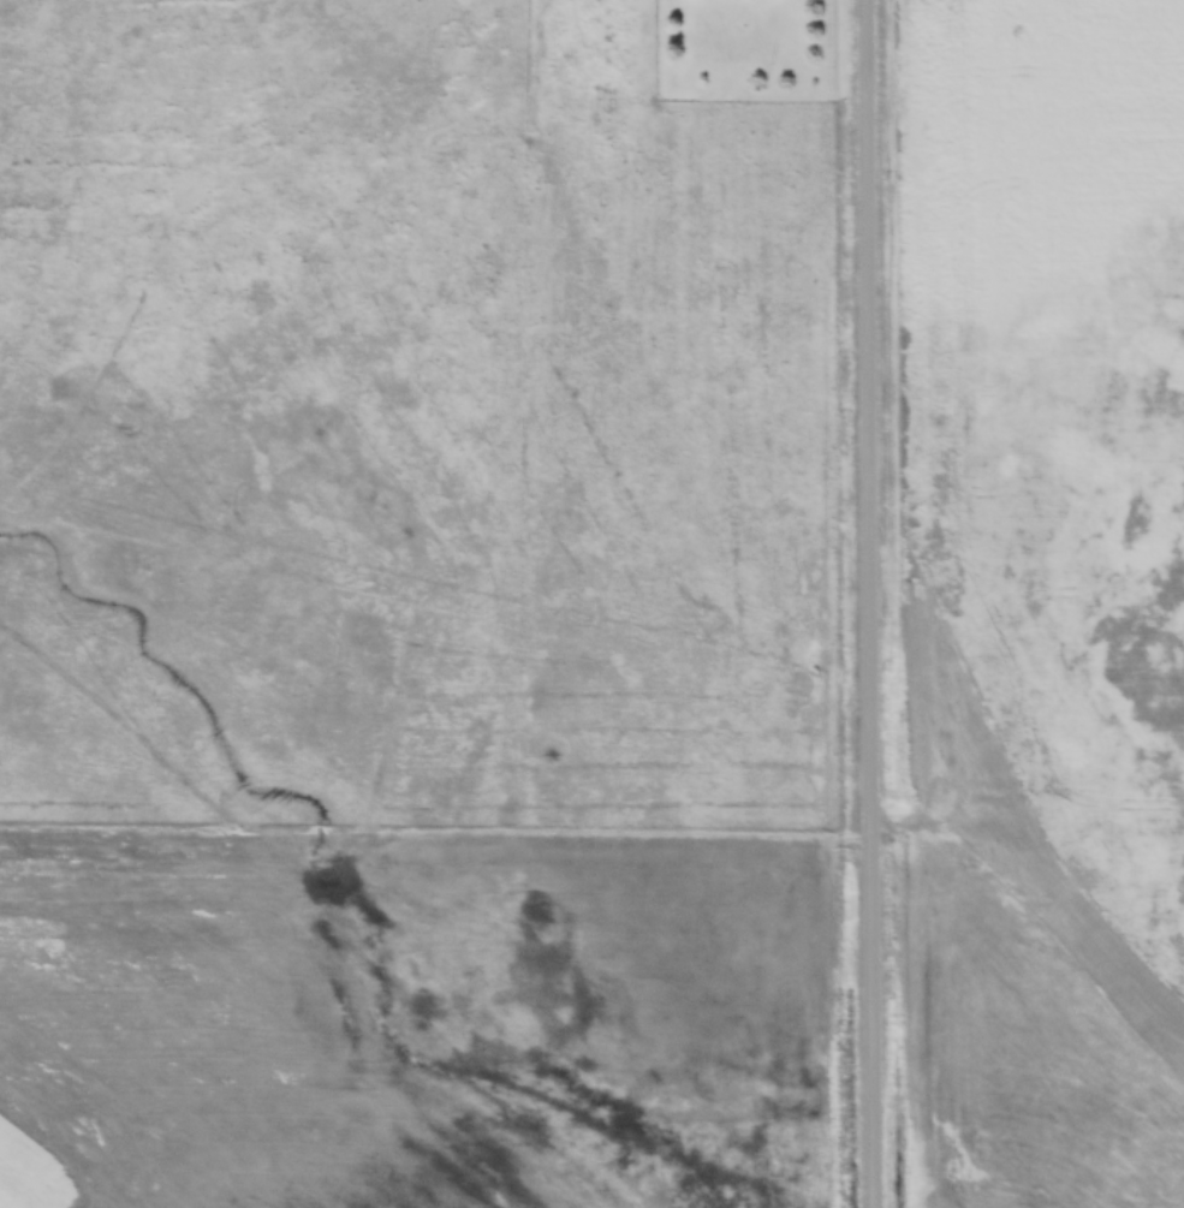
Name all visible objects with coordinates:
road: (891, 603)

